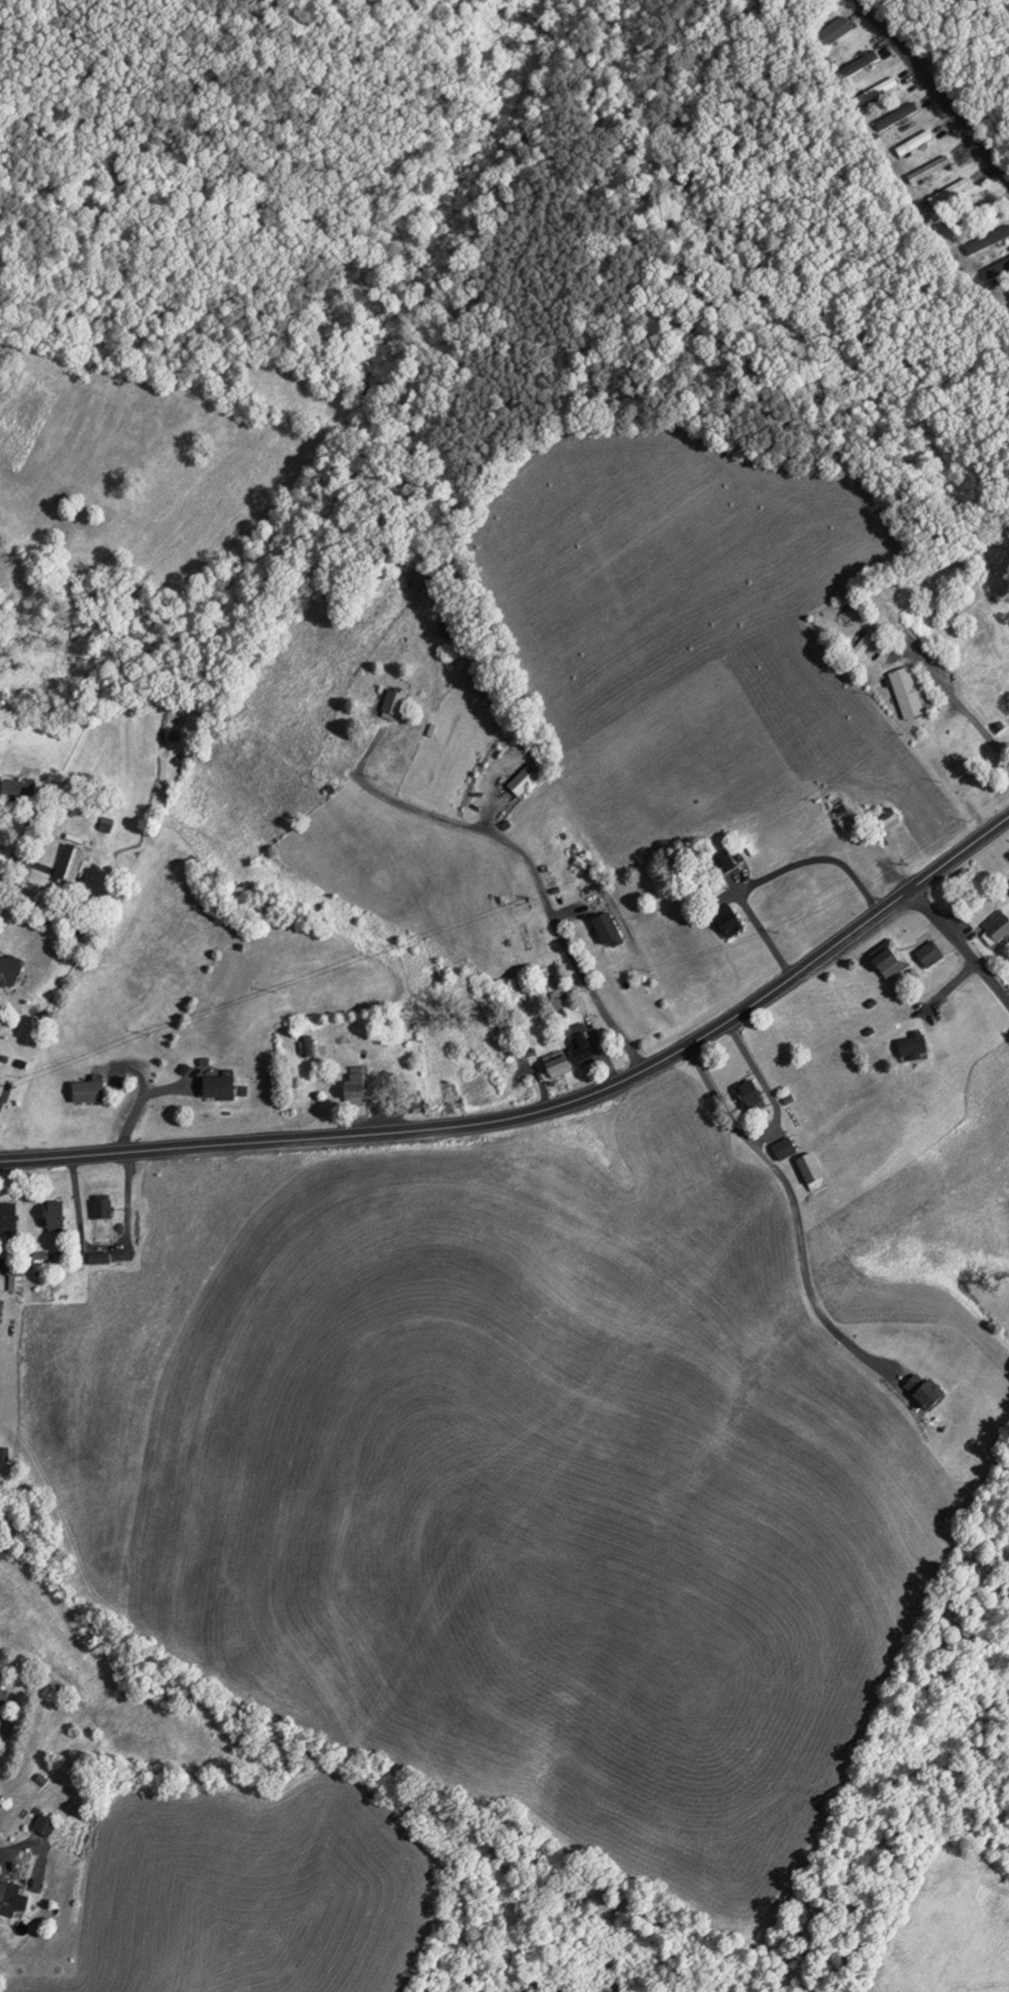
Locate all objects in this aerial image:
building: (837, 28)
building: (858, 63)
building: (876, 89)
road: (935, 89)
building: (895, 114)
building: (914, 141)
building: (928, 168)
building: (948, 190)
building: (1008, 290)
building: (421, 578)
building: (449, 627)
building: (909, 691)
building: (394, 703)
road: (959, 704)
building: (175, 719)
building: (522, 780)
building: (23, 790)
building: (891, 818)
road: (20, 849)
road: (523, 857)
building: (73, 862)
building: (730, 919)
building: (998, 926)
building: (609, 928)
road: (755, 937)
road: (961, 949)
building: (932, 952)
building: (892, 957)
building: (11, 969)
road: (746, 1010)
building: (583, 1042)
building: (917, 1044)
building: (559, 1062)
building: (220, 1087)
building: (357, 1087)
road: (765, 1087)
building: (90, 1090)
building: (753, 1094)
road: (224, 1146)
building: (785, 1147)
building: (814, 1170)
road: (792, 1208)
building: (103, 1211)
building: (56, 1215)
building: (9, 1217)
building: (99, 1257)
road: (2, 1260)
building: (927, 1389)
building: (3, 1454)
crop: (499, 1466)
building: (3, 1704)
building: (39, 1780)
building: (45, 1823)
road: (2, 1858)
crop: (253, 1895)
building: (11, 1901)
crop: (963, 1935)

